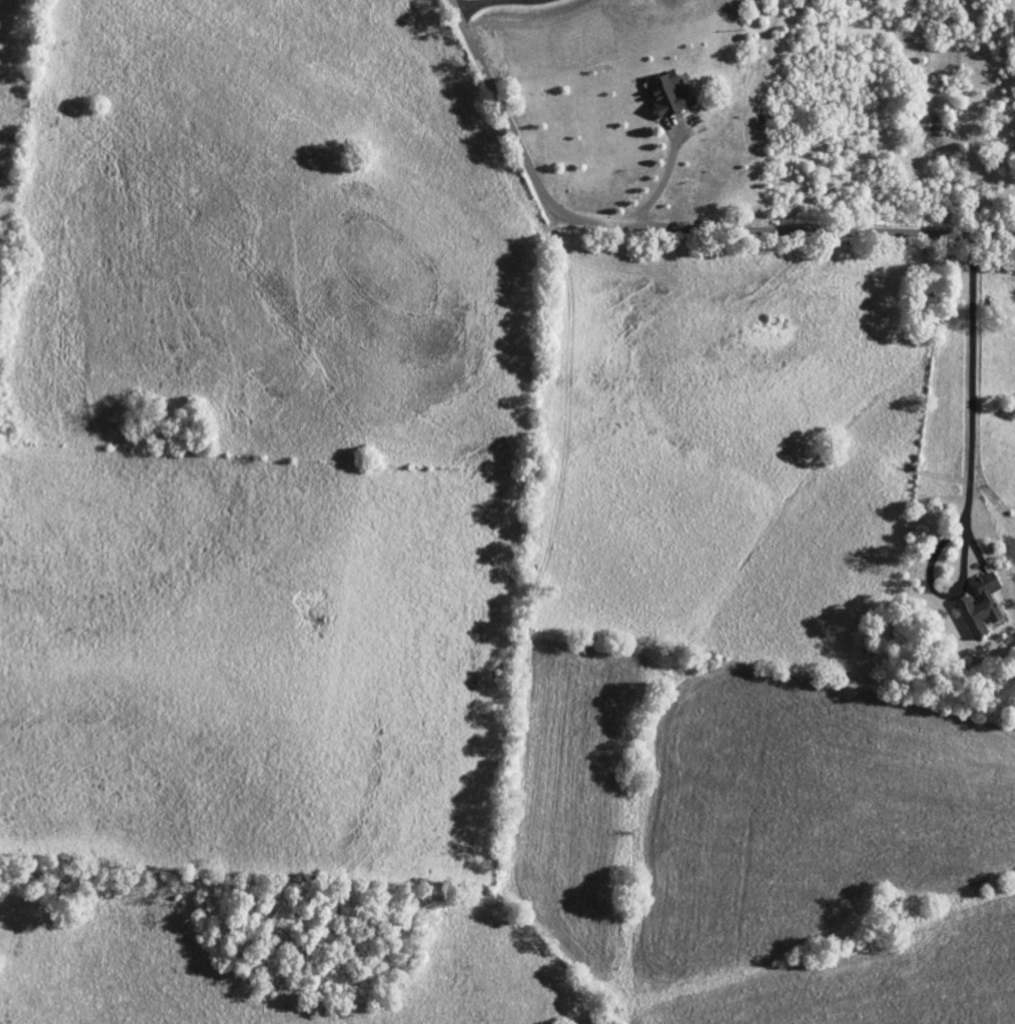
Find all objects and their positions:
building: (669, 93)
road: (662, 184)
road: (669, 225)
road: (971, 468)
building: (981, 605)

